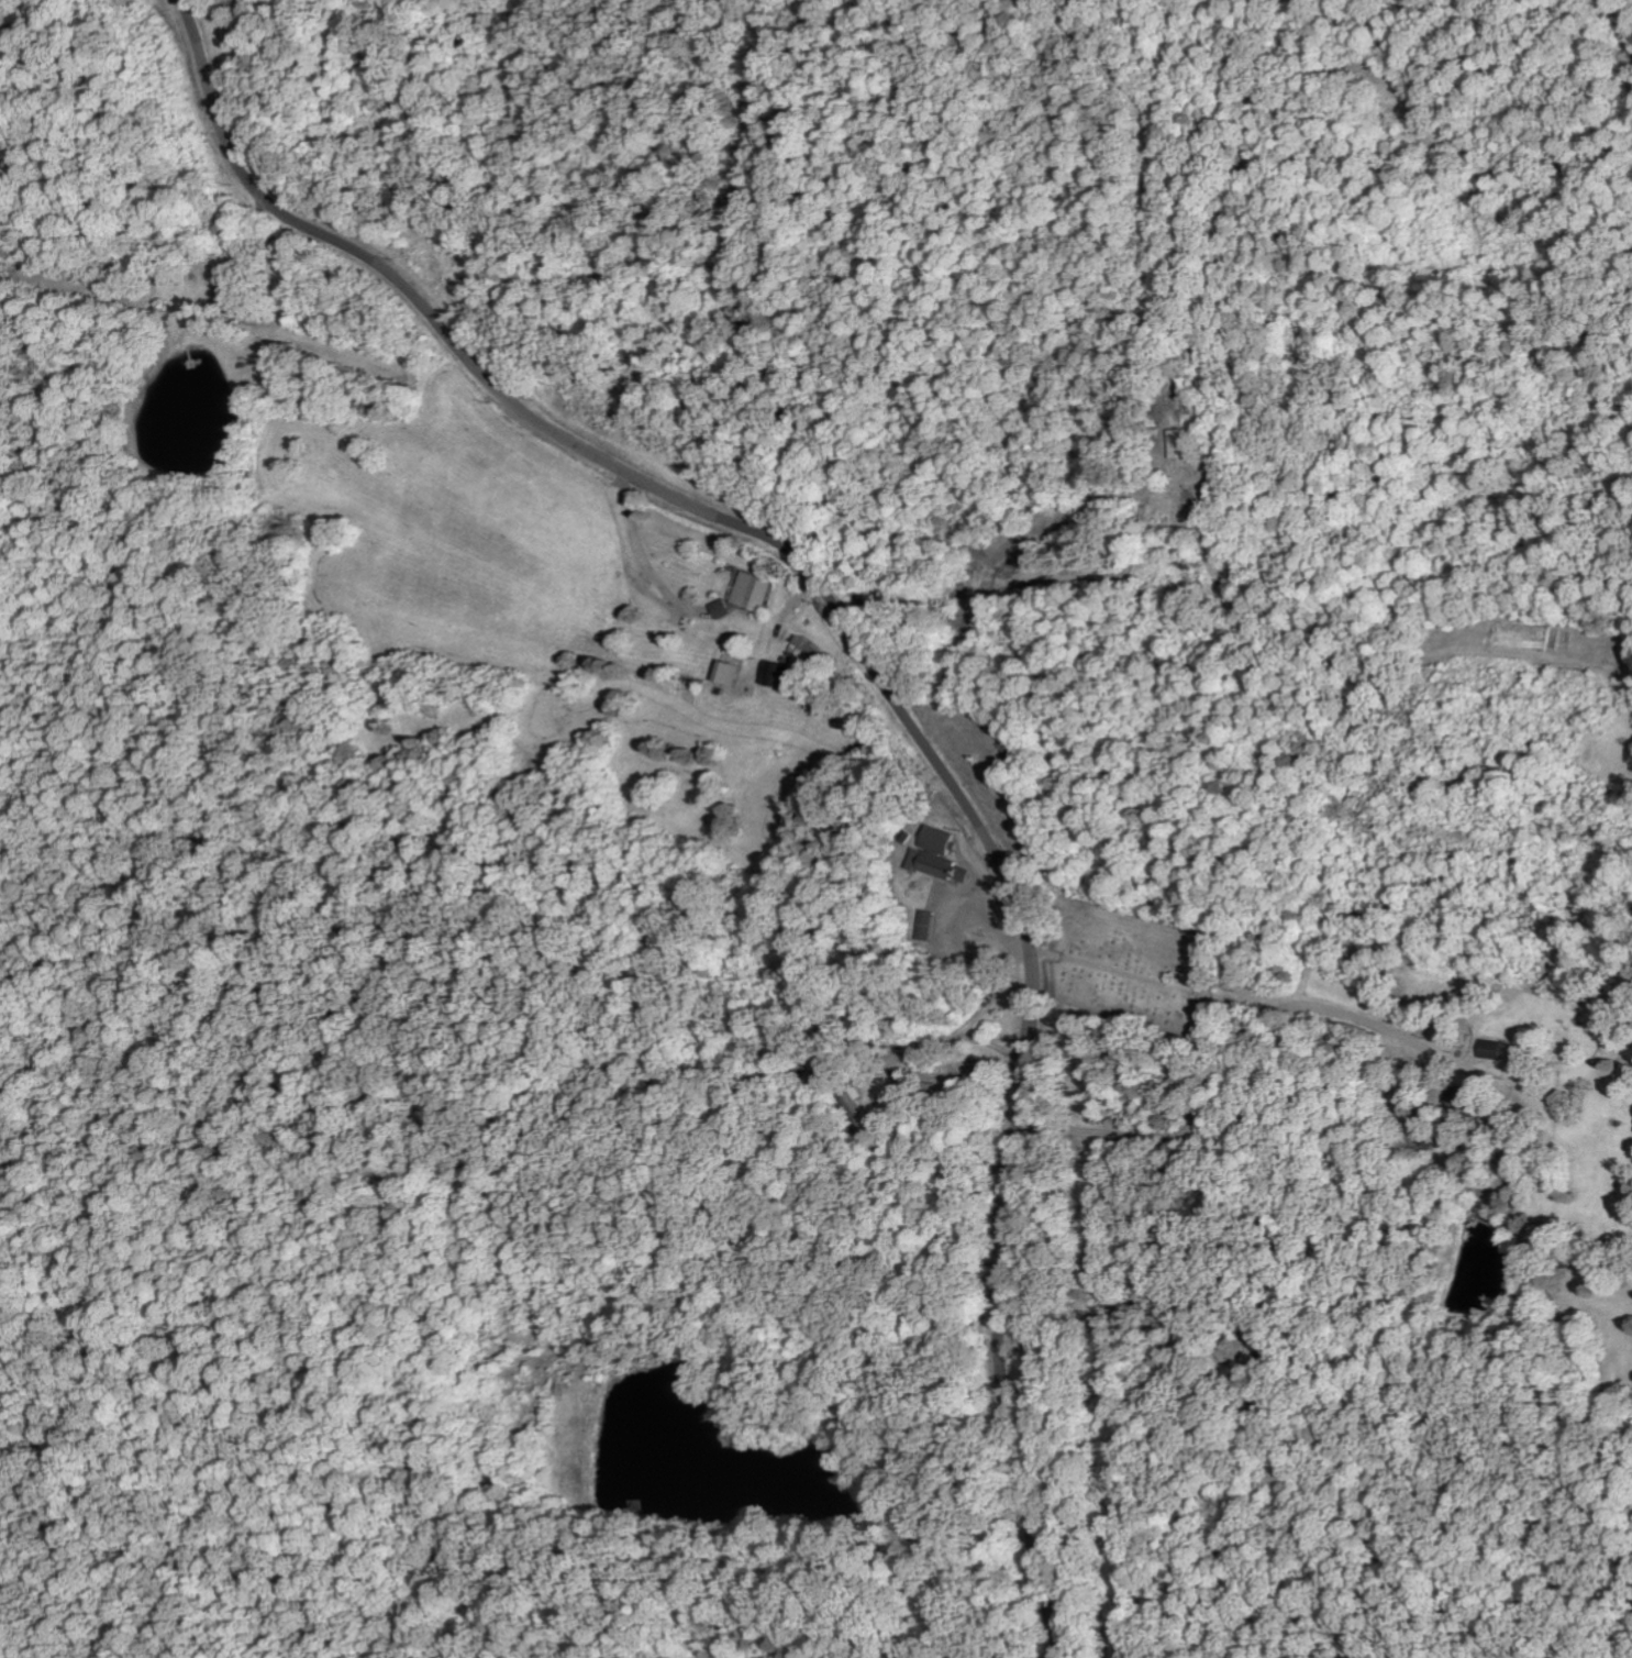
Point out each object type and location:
road: (574, 211)
building: (754, 590)
building: (814, 646)
building: (734, 671)
building: (780, 672)
road: (886, 683)
building: (945, 854)
park: (1130, 965)
road: (1286, 1048)

